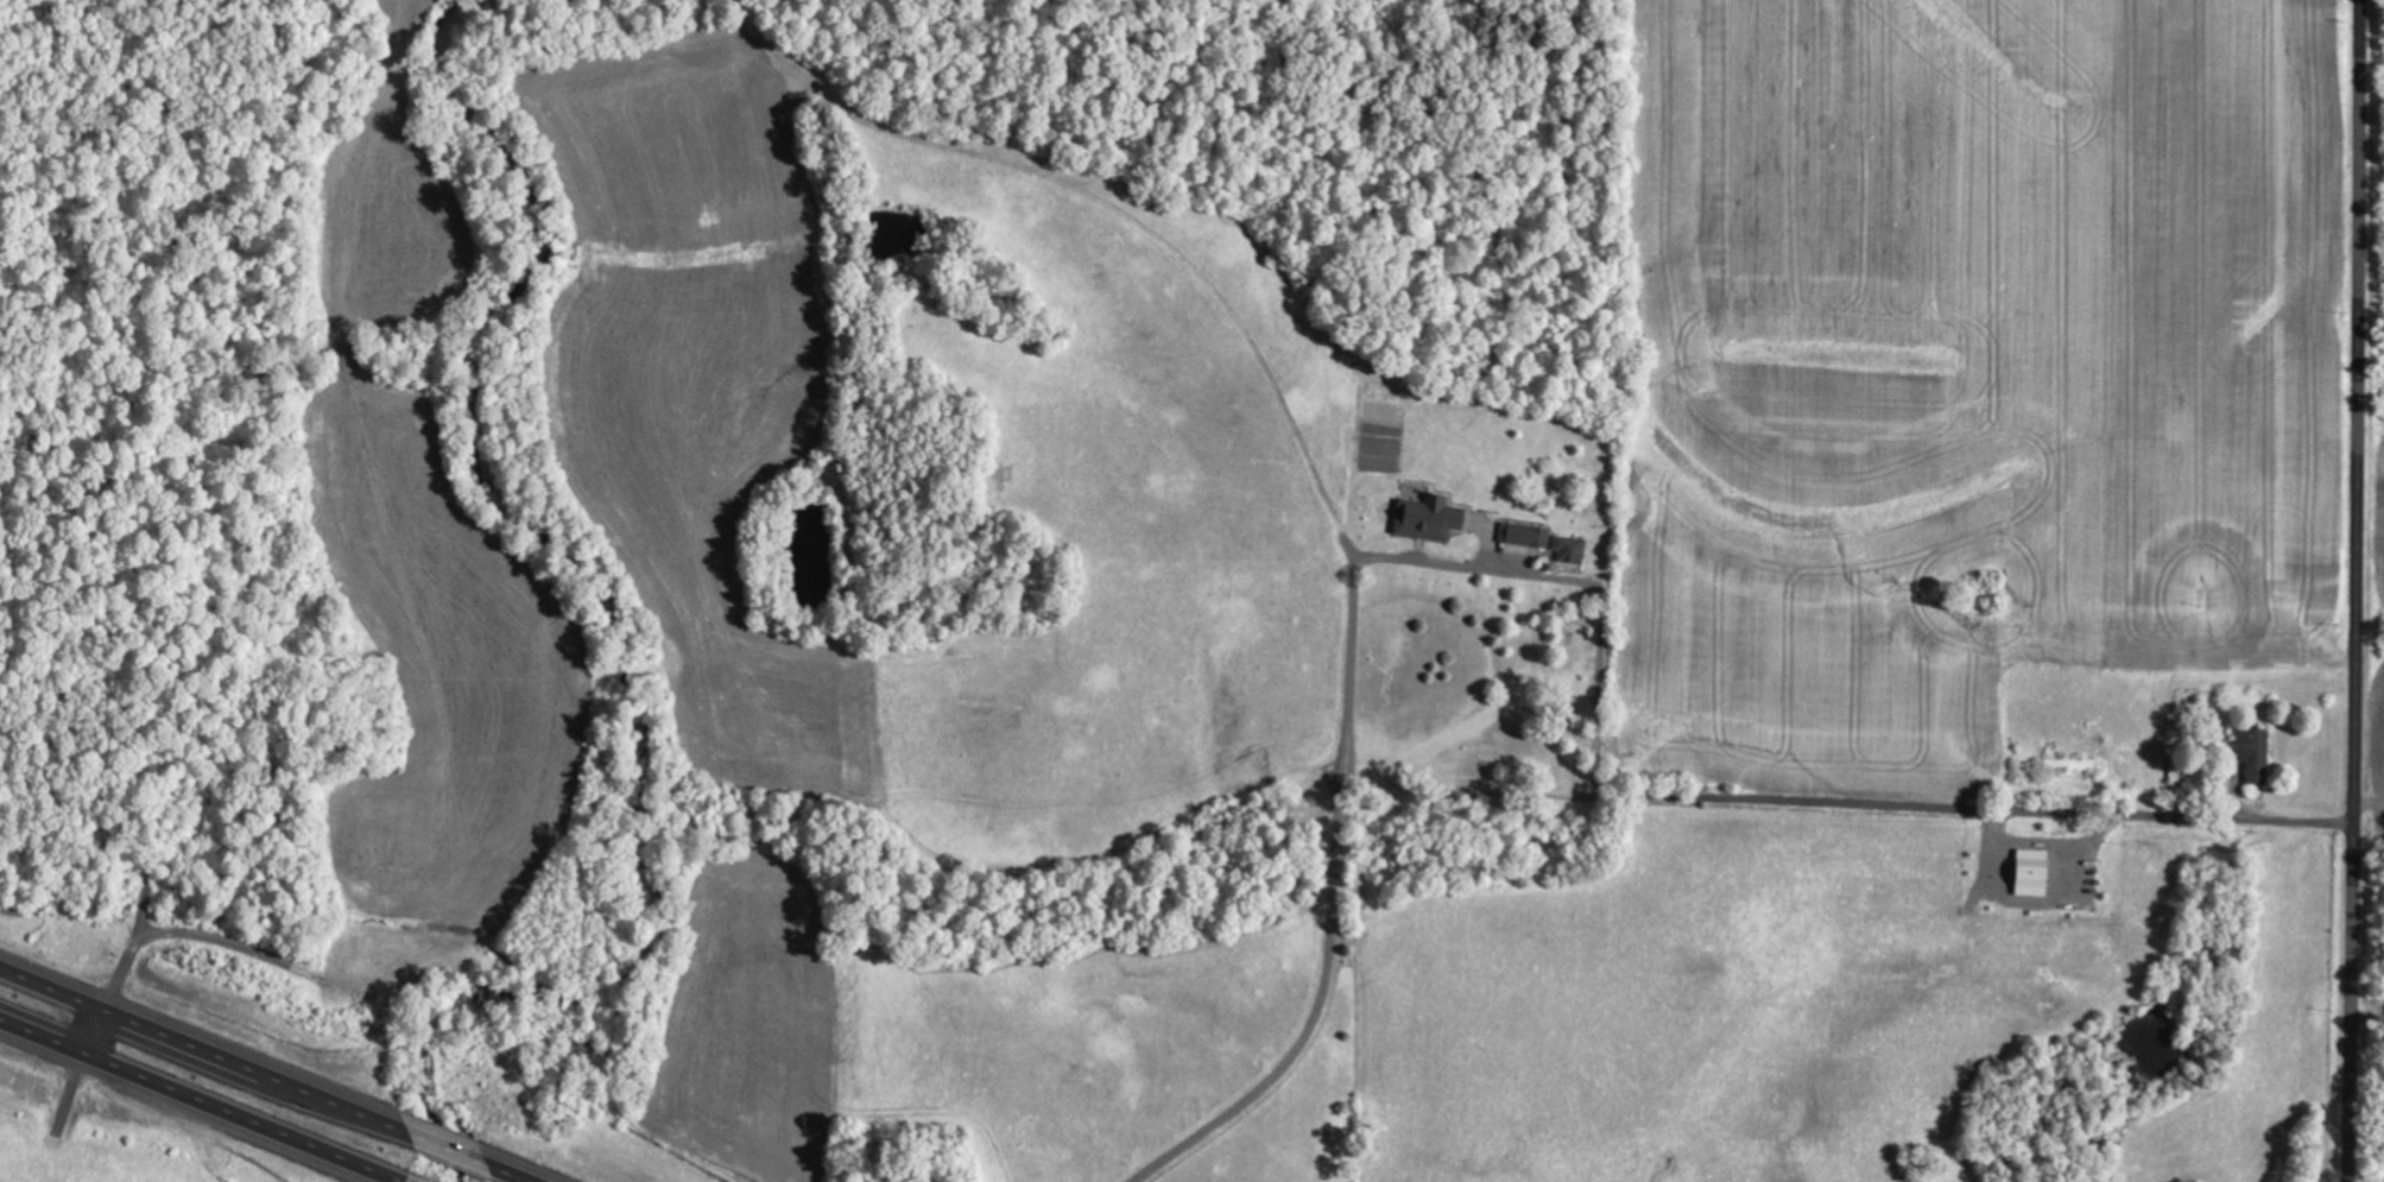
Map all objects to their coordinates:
building: (1430, 519)
building: (1525, 537)
building: (1572, 551)
road: (2354, 590)
building: (2256, 757)
road: (1899, 791)
building: (2034, 874)
road: (95, 1026)
road: (205, 1049)
road: (201, 1095)
road: (453, 1151)
road: (510, 1175)

